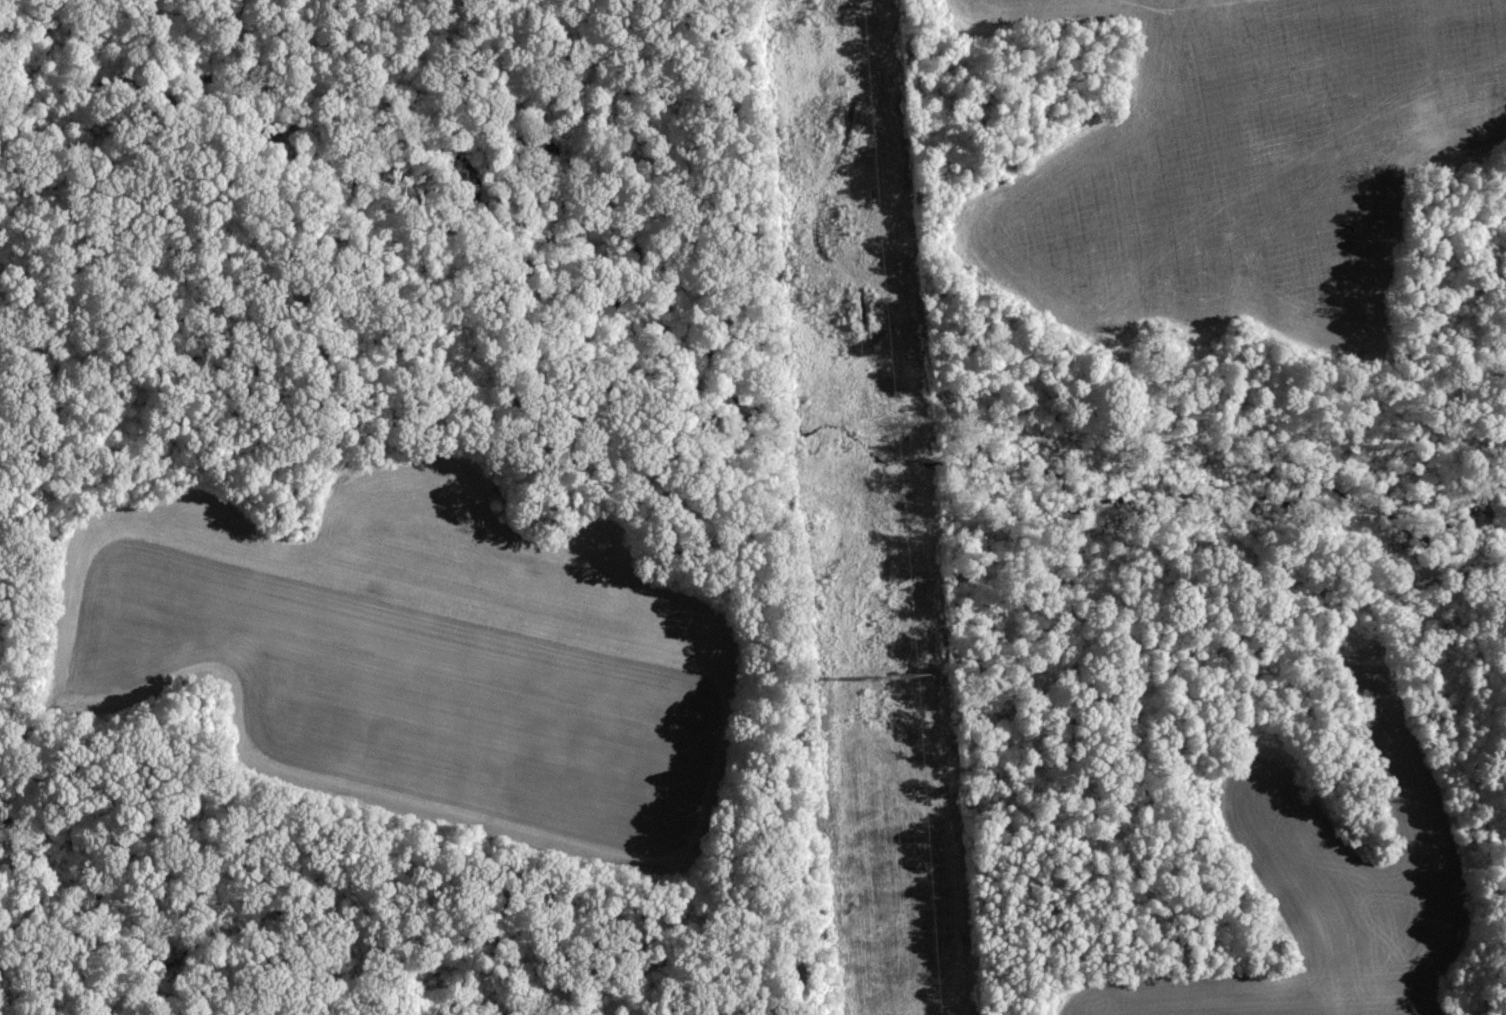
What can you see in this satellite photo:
power tower: (882, 677)

